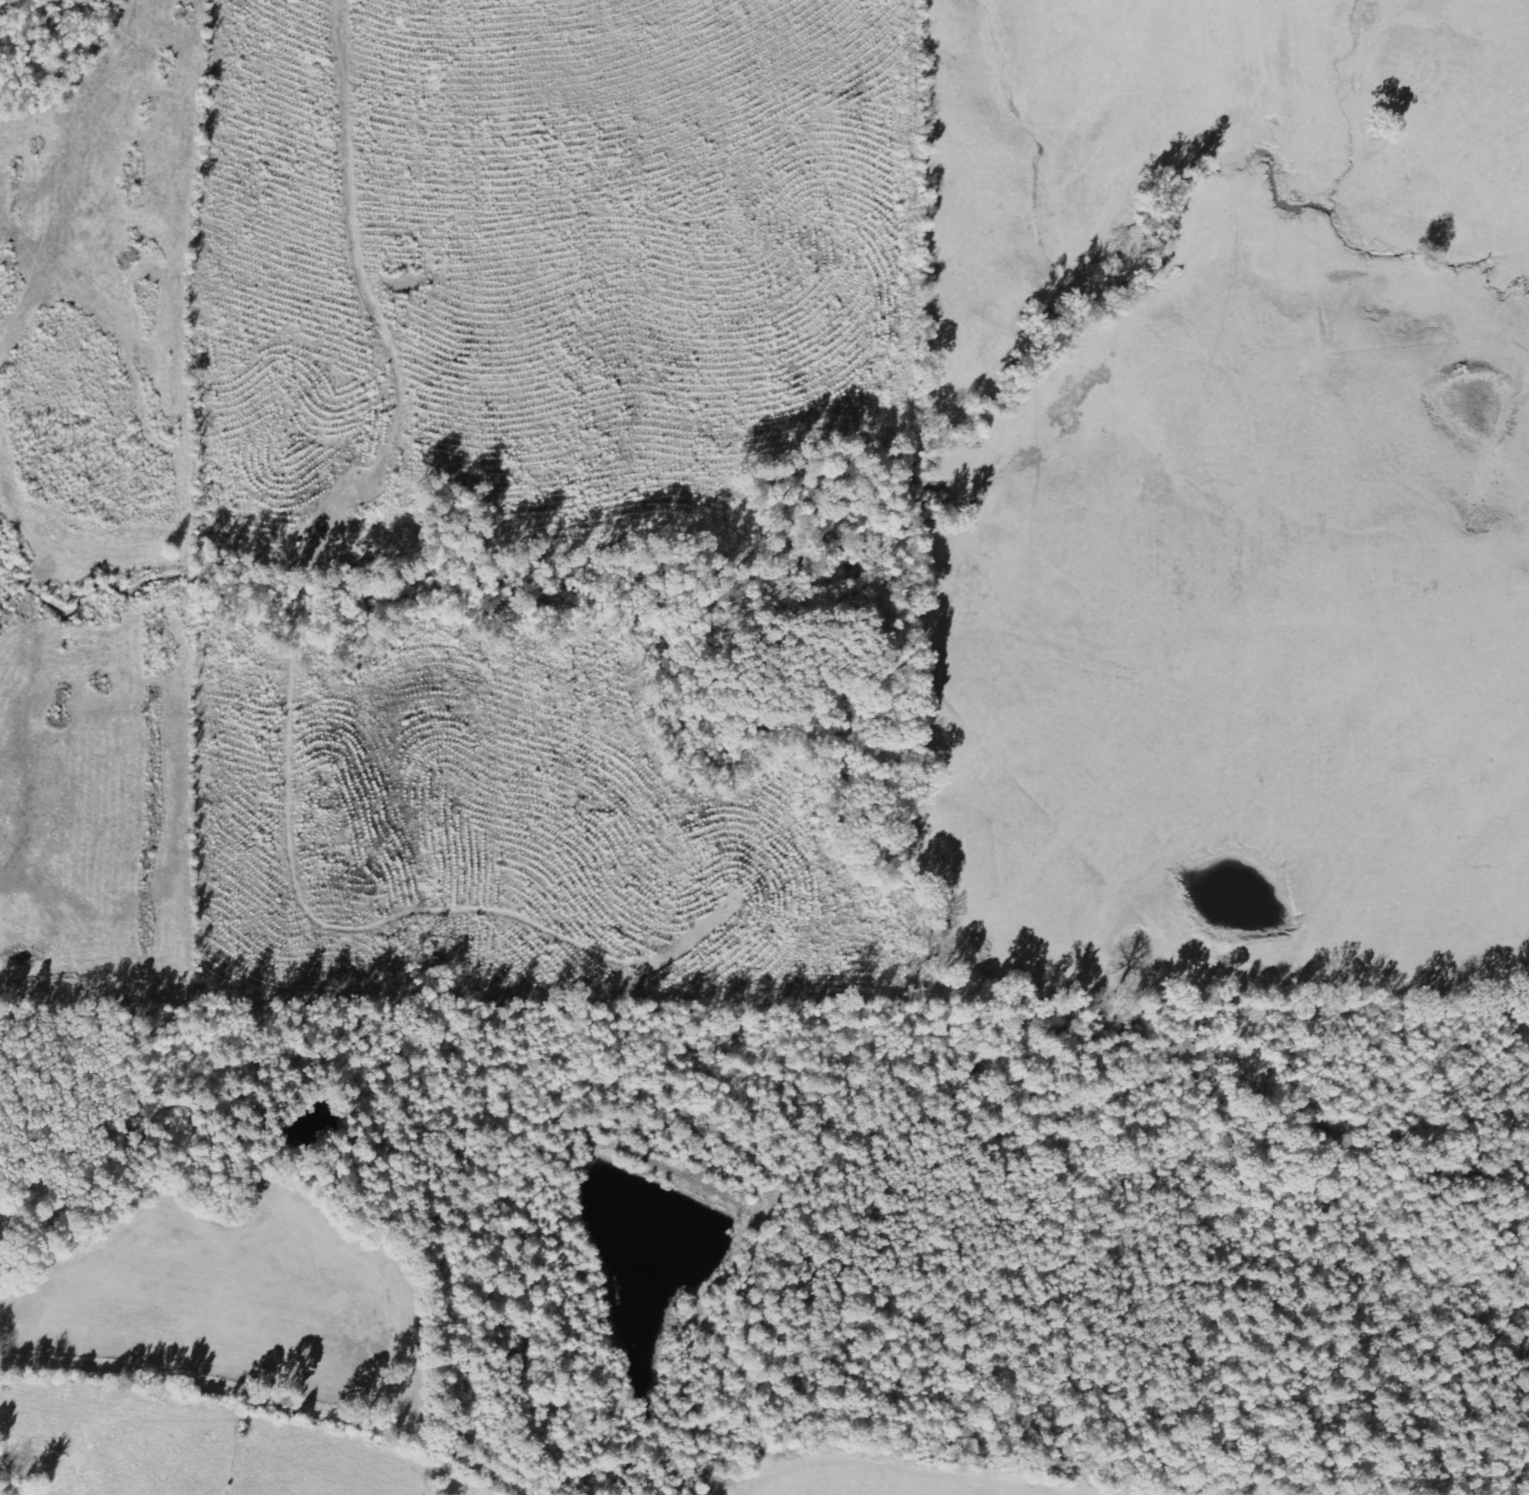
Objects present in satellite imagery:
road: (273, 1401)

